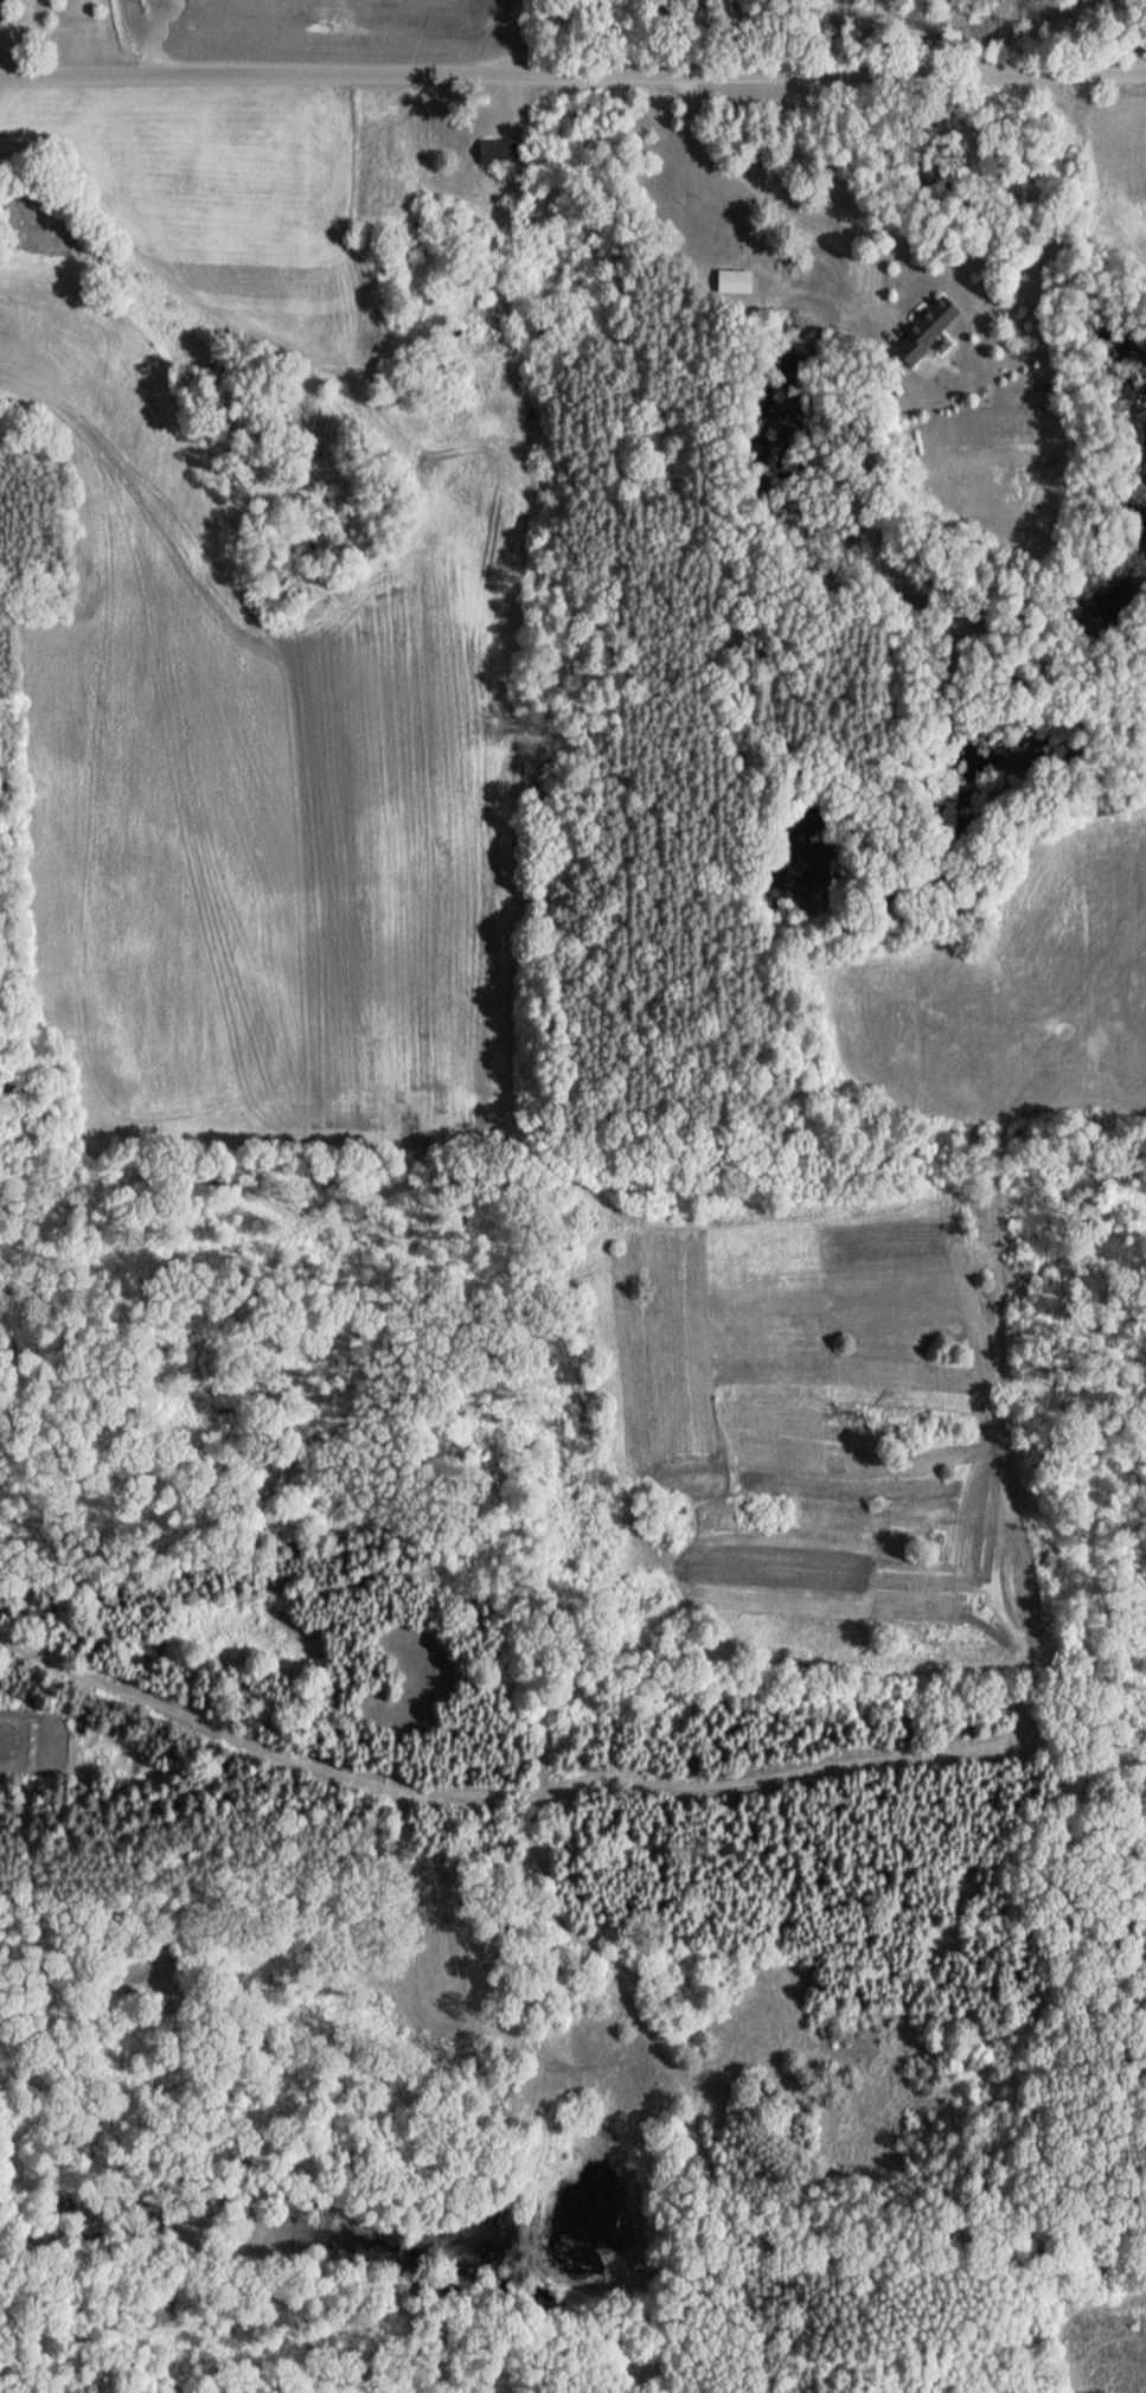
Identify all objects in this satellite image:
road: (572, 69)
building: (500, 153)
road: (782, 196)
building: (732, 282)
building: (924, 332)
road: (180, 2242)

